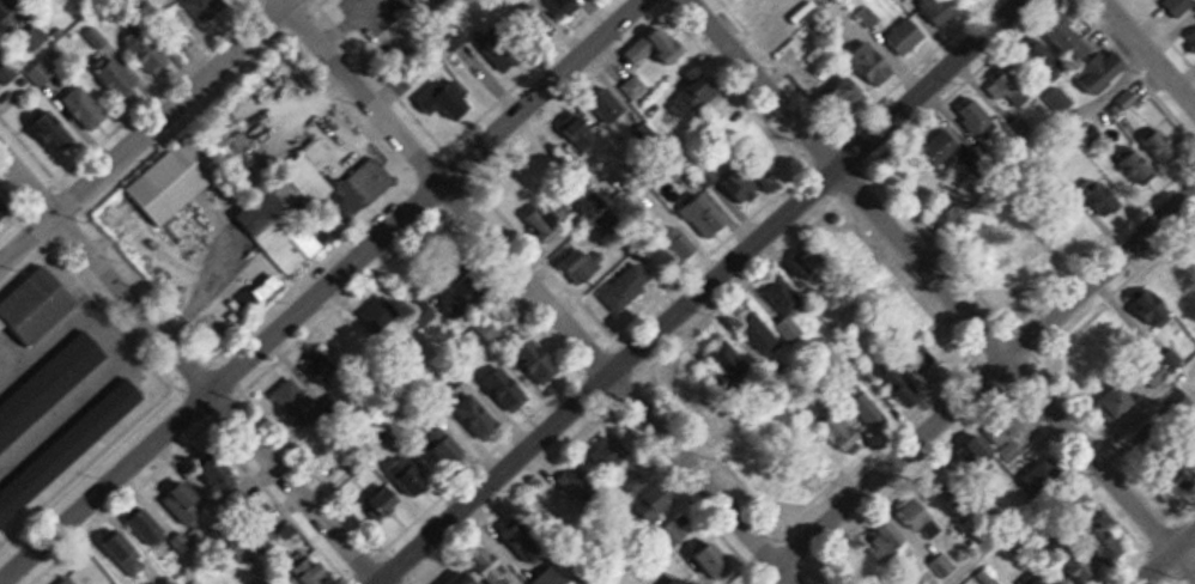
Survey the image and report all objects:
building: (97, 1)
building: (763, 4)
building: (569, 6)
building: (205, 10)
building: (940, 10)
building: (788, 14)
building: (532, 22)
building: (1063, 35)
building: (908, 36)
building: (503, 45)
building: (672, 48)
building: (148, 54)
road: (1147, 54)
building: (1042, 59)
building: (874, 65)
building: (1100, 72)
building: (119, 81)
building: (1002, 86)
building: (633, 87)
building: (851, 93)
building: (694, 96)
building: (448, 98)
building: (1058, 101)
building: (608, 105)
building: (84, 109)
building: (978, 118)
road: (145, 130)
building: (581, 134)
building: (54, 136)
building: (1159, 144)
building: (1135, 165)
building: (309, 176)
building: (177, 180)
building: (370, 181)
building: (745, 184)
building: (1102, 196)
building: (0, 209)
building: (705, 219)
building: (545, 224)
building: (1079, 236)
building: (290, 242)
building: (1035, 260)
building: (809, 262)
building: (629, 285)
road: (940, 285)
building: (268, 287)
road: (322, 291)
road: (535, 292)
road: (700, 292)
building: (37, 305)
building: (1151, 306)
building: (785, 308)
building: (380, 312)
building: (757, 333)
building: (345, 345)
building: (728, 360)
building: (1086, 361)
building: (539, 363)
road: (189, 369)
building: (686, 382)
road: (977, 387)
building: (505, 389)
building: (863, 406)
building: (297, 407)
building: (20, 418)
building: (477, 418)
building: (726, 425)
building: (90, 428)
building: (838, 433)
building: (999, 440)
building: (442, 454)
building: (609, 454)
building: (1042, 477)
building: (222, 479)
building: (565, 485)
building: (656, 501)
building: (387, 503)
building: (542, 503)
building: (951, 503)
building: (186, 510)
building: (922, 521)
building: (148, 529)
building: (885, 546)
road: (1165, 556)
building: (1093, 558)
building: (714, 562)
building: (942, 567)
building: (857, 571)
building: (320, 573)
building: (261, 578)
building: (630, 579)
building: (68, 580)
building: (677, 580)

